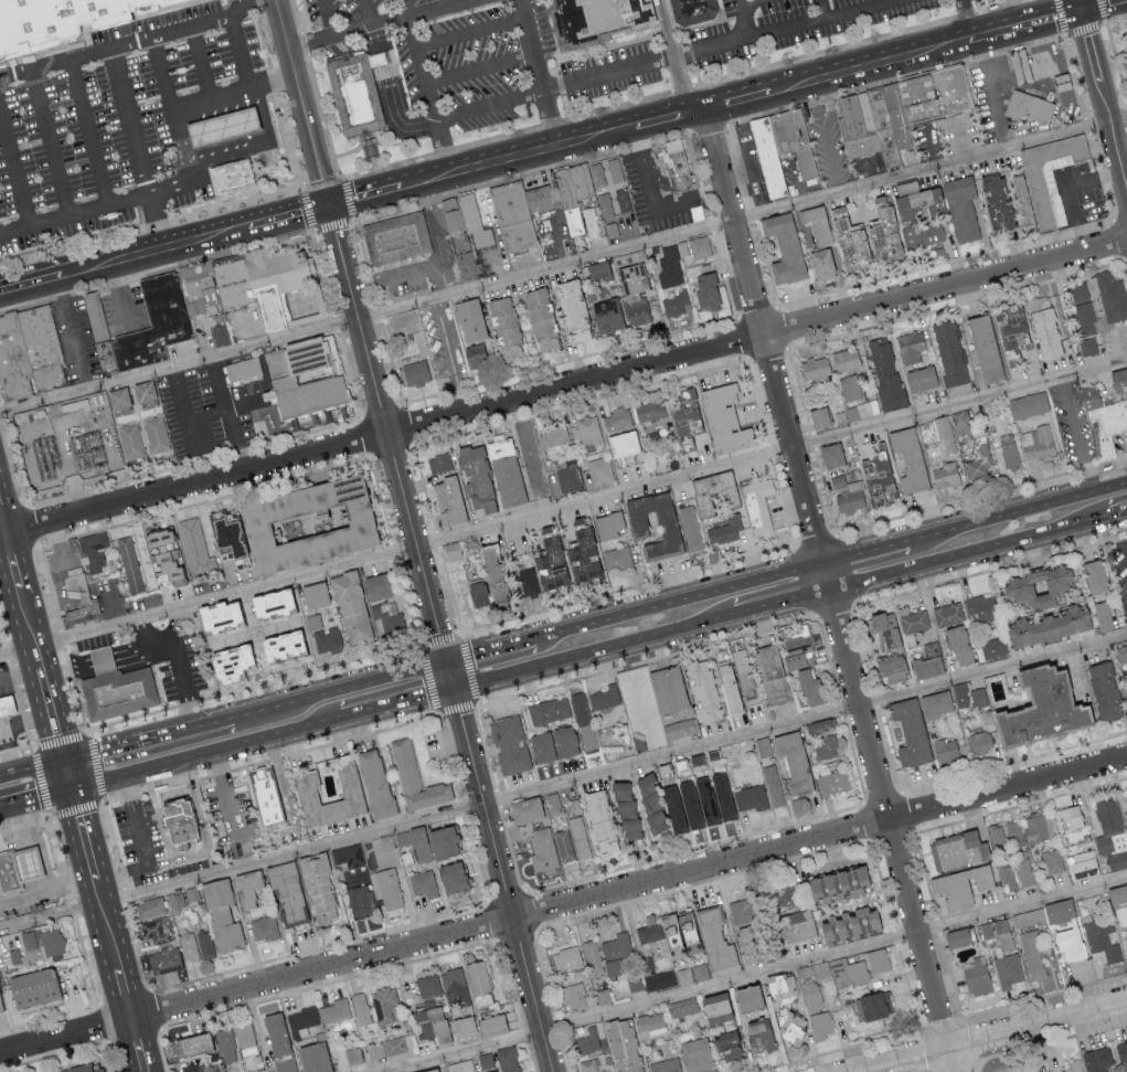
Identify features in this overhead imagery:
building: (200, 0)
road: (740, 0)
road: (450, 3)
road: (1126, 3)
road: (1103, 6)
building: (121, 9)
road: (411, 9)
building: (695, 10)
road: (823, 10)
road: (369, 14)
building: (600, 15)
road: (741, 18)
road: (970, 19)
road: (329, 20)
building: (39, 24)
road: (1025, 24)
road: (384, 25)
parking lot: (794, 25)
road: (475, 33)
road: (723, 41)
road: (135, 42)
road: (236, 55)
road: (672, 55)
road: (198, 65)
road: (869, 65)
building: (1022, 66)
road: (482, 68)
parking lot: (463, 73)
road: (542, 73)
building: (1063, 83)
road: (1102, 92)
building: (355, 93)
road: (991, 93)
building: (934, 95)
road: (234, 96)
road: (432, 96)
road: (737, 99)
road: (302, 103)
road: (493, 106)
building: (1034, 109)
road: (670, 117)
building: (897, 117)
road: (130, 121)
parking lot: (109, 125)
building: (883, 127)
road: (176, 128)
building: (227, 128)
gas station: (227, 128)
building: (857, 130)
road: (86, 132)
road: (823, 135)
building: (796, 140)
road: (1121, 141)
road: (49, 142)
road: (961, 142)
road: (932, 145)
road: (15, 155)
road: (520, 157)
building: (770, 157)
building: (874, 162)
building: (681, 166)
building: (608, 173)
building: (234, 176)
building: (584, 180)
road: (796, 181)
building: (1048, 183)
building: (905, 187)
road: (1068, 190)
road: (480, 193)
road: (368, 197)
building: (543, 200)
road: (653, 200)
building: (570, 201)
building: (996, 202)
building: (616, 203)
traffic signals: (330, 206)
building: (961, 206)
road: (75, 213)
road: (289, 216)
building: (514, 216)
road: (160, 221)
building: (476, 221)
building: (593, 223)
building: (816, 223)
building: (457, 227)
building: (612, 229)
building: (881, 230)
building: (923, 235)
building: (397, 237)
building: (847, 237)
road: (199, 240)
building: (784, 246)
road: (562, 263)
road: (107, 264)
road: (436, 264)
building: (820, 264)
building: (597, 269)
building: (669, 270)
building: (631, 277)
road: (32, 283)
building: (238, 283)
building: (704, 286)
building: (205, 293)
road: (121, 294)
building: (1110, 297)
building: (677, 303)
building: (1083, 308)
building: (572, 309)
building: (270, 311)
building: (636, 312)
building: (605, 315)
building: (540, 318)
building: (469, 319)
building: (681, 320)
building: (161, 323)
building: (504, 326)
building: (1043, 326)
building: (1011, 329)
building: (105, 330)
road: (75, 332)
building: (220, 333)
building: (1087, 346)
building: (910, 347)
building: (984, 348)
building: (32, 352)
building: (948, 352)
road: (447, 355)
building: (474, 355)
building: (846, 359)
building: (243, 368)
building: (815, 368)
building: (416, 372)
building: (884, 372)
building: (328, 379)
building: (919, 379)
building: (1120, 383)
road: (562, 384)
building: (849, 386)
building: (143, 392)
building: (117, 397)
building: (1093, 399)
road: (222, 404)
building: (1028, 404)
road: (181, 405)
building: (649, 410)
building: (857, 410)
building: (683, 415)
building: (818, 416)
building: (615, 418)
building: (723, 420)
road: (228, 422)
building: (961, 425)
building: (1107, 428)
building: (585, 429)
building: (944, 432)
building: (156, 434)
building: (553, 435)
road: (1074, 435)
building: (130, 441)
power substation: (71, 442)
building: (621, 443)
building: (1035, 443)
building: (830, 454)
road: (530, 455)
building: (1008, 455)
building: (907, 459)
building: (439, 463)
building: (978, 463)
building: (599, 469)
building: (504, 471)
building: (944, 475)
building: (875, 478)
building: (476, 479)
building: (568, 479)
building: (712, 490)
building: (847, 493)
building: (448, 500)
building: (757, 505)
road: (563, 508)
road: (1021, 508)
road: (1118, 516)
road: (3, 522)
building: (305, 523)
building: (607, 524)
building: (690, 527)
building: (724, 530)
road: (1123, 533)
building: (226, 540)
building: (195, 549)
road: (869, 549)
building: (451, 550)
building: (580, 550)
building: (98, 551)
building: (163, 554)
road: (970, 556)
building: (616, 558)
road: (13, 562)
building: (129, 563)
building: (549, 564)
building: (1094, 576)
building: (493, 577)
building: (527, 582)
building: (1036, 585)
building: (376, 586)
building: (83, 587)
road: (829, 590)
building: (477, 593)
building: (313, 594)
road: (679, 598)
building: (269, 603)
building: (351, 607)
road: (783, 607)
building: (980, 607)
road: (118, 608)
building: (91, 613)
building: (947, 614)
building: (217, 615)
building: (1102, 615)
building: (391, 617)
building: (312, 620)
building: (913, 620)
building: (1046, 626)
building: (883, 628)
road: (440, 639)
building: (327, 640)
building: (222, 643)
building: (958, 645)
building: (279, 646)
road: (490, 647)
building: (993, 647)
building: (796, 651)
road: (130, 652)
building: (1121, 654)
road: (595, 658)
traffic signals: (446, 659)
road: (177, 660)
building: (927, 661)
building: (228, 664)
building: (887, 664)
road: (66, 667)
building: (743, 669)
building: (772, 675)
building: (891, 678)
building: (809, 686)
road: (338, 687)
building: (727, 687)
building: (116, 688)
building: (702, 689)
building: (1104, 691)
building: (959, 694)
traffic signals: (456, 697)
building: (605, 697)
building: (978, 697)
building: (934, 702)
building: (657, 705)
building: (7, 707)
building: (1039, 709)
building: (549, 710)
road: (400, 711)
road: (644, 717)
building: (583, 721)
building: (817, 725)
building: (908, 732)
road: (147, 736)
building: (564, 741)
building: (978, 743)
building: (512, 746)
building: (541, 746)
building: (763, 746)
building: (825, 746)
building: (946, 750)
traffic signals: (65, 758)
building: (791, 760)
road: (210, 761)
road: (32, 767)
road: (70, 776)
building: (416, 782)
road: (563, 782)
building: (831, 782)
building: (378, 785)
building: (772, 785)
road: (492, 787)
building: (349, 793)
building: (1126, 795)
traffic signals: (75, 796)
building: (721, 796)
building: (749, 797)
building: (267, 798)
building: (552, 798)
building: (704, 799)
road: (38, 805)
building: (667, 805)
building: (626, 809)
road: (228, 813)
road: (291, 816)
building: (1066, 817)
building: (187, 820)
building: (599, 821)
road: (23, 824)
building: (1039, 828)
building: (532, 832)
building: (1004, 834)
building: (1110, 835)
building: (580, 837)
parking lot: (139, 841)
building: (386, 841)
building: (428, 841)
building: (564, 845)
road: (143, 850)
building: (956, 850)
building: (343, 855)
road: (57, 859)
building: (1052, 860)
building: (1082, 864)
building: (23, 868)
building: (1023, 869)
building: (1007, 874)
building: (453, 877)
building: (423, 883)
building: (836, 883)
building: (958, 887)
building: (246, 888)
building: (317, 889)
building: (387, 890)
building: (287, 891)
building: (192, 893)
building: (1117, 893)
building: (783, 898)
building: (360, 900)
building: (177, 901)
road: (563, 905)
building: (149, 906)
road: (71, 909)
building: (741, 911)
building: (1057, 911)
building: (221, 915)
building: (1027, 917)
building: (848, 925)
building: (793, 926)
building: (263, 927)
building: (155, 932)
building: (648, 932)
building: (680, 932)
building: (998, 933)
building: (1125, 934)
building: (955, 937)
building: (1102, 938)
building: (29, 940)
building: (714, 941)
building: (52, 942)
building: (1070, 943)
building: (205, 944)
building: (749, 944)
building: (617, 945)
building: (189, 946)
building: (592, 953)
building: (14, 955)
building: (1032, 955)
building: (166, 958)
building: (567, 958)
building: (878, 959)
road: (85, 960)
building: (613, 967)
building: (1008, 970)
building: (700, 972)
building: (851, 974)
building: (655, 975)
building: (683, 976)
building: (977, 976)
road: (753, 977)
building: (478, 983)
building: (634, 983)
building: (812, 984)
building: (428, 985)
building: (455, 987)
building: (32, 988)
building: (782, 988)
road: (127, 990)
building: (603, 996)
building: (577, 997)
building: (746, 998)
building: (384, 1004)
building: (872, 1005)
building: (683, 1007)
building: (361, 1008)
building: (714, 1008)
building: (0, 1010)
building: (336, 1010)
road: (50, 1017)
building: (433, 1019)
building: (301, 1021)
road: (104, 1022)
building: (650, 1023)
building: (490, 1025)
building: (820, 1025)
building: (463, 1027)
building: (790, 1028)
building: (424, 1030)
building: (244, 1034)
building: (275, 1034)
building: (758, 1037)
road: (999, 1038)
building: (587, 1041)
road: (140, 1043)
building: (398, 1043)
building: (226, 1044)
building: (725, 1044)
building: (190, 1046)
building: (623, 1046)
building: (375, 1050)
building: (1120, 1052)
road: (54, 1053)
building: (694, 1054)
building: (353, 1055)
road: (110, 1057)
building: (313, 1058)
building: (507, 1059)
building: (486, 1060)
building: (1095, 1060)
building: (286, 1065)
building: (461, 1065)
building: (588, 1065)
building: (666, 1065)
building: (1073, 1066)
building: (192, 1068)
building: (84, 1070)
building: (429, 1070)
building: (492, 1071)
building: (609, 1071)
building: (1010, 1071)
building: (1034, 1071)

